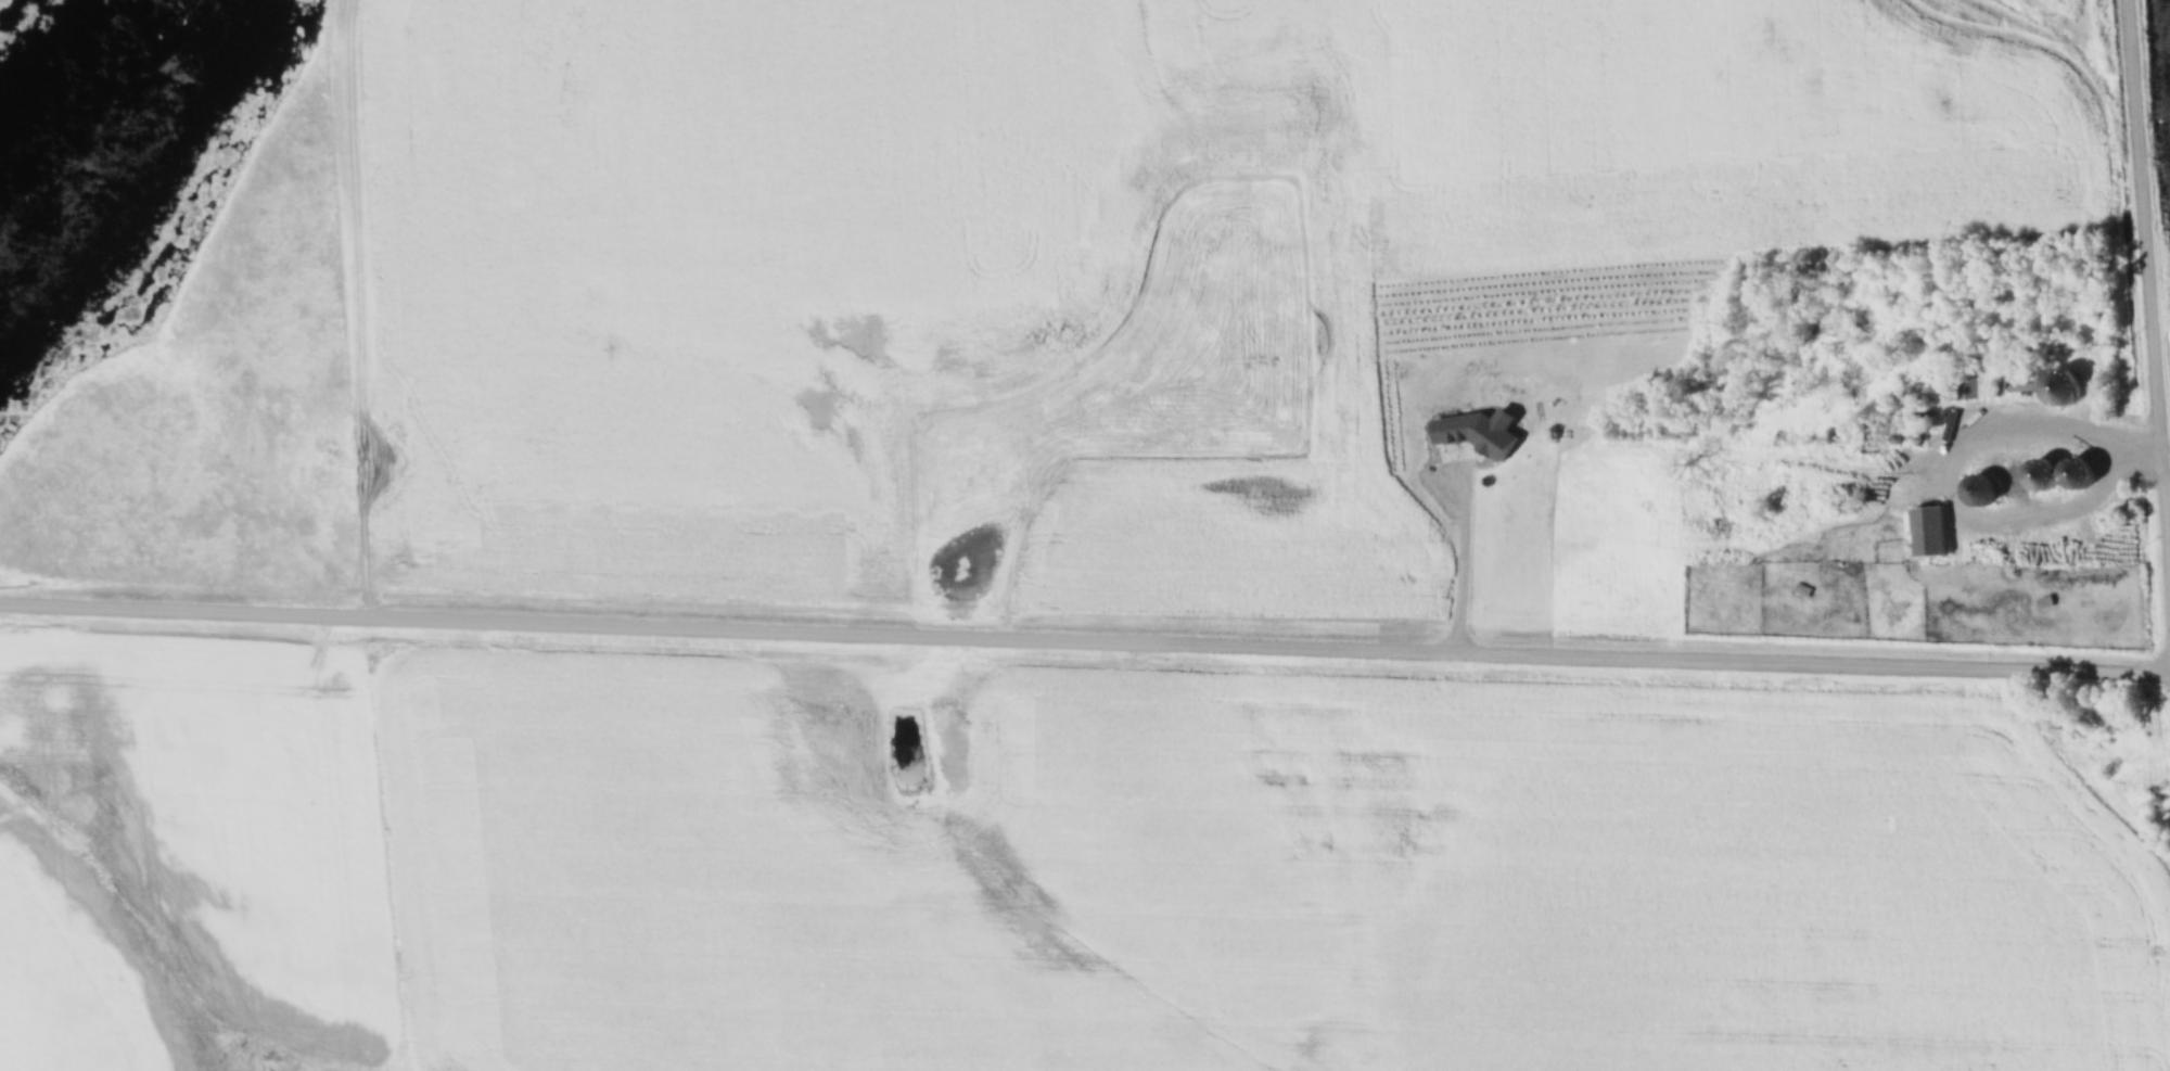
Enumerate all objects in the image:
road: (2150, 257)
building: (2063, 375)
building: (1981, 382)
building: (2022, 382)
road: (2046, 430)
building: (1798, 449)
building: (2043, 474)
building: (1798, 475)
building: (1979, 489)
building: (1841, 496)
building: (1929, 531)
road: (1085, 640)

